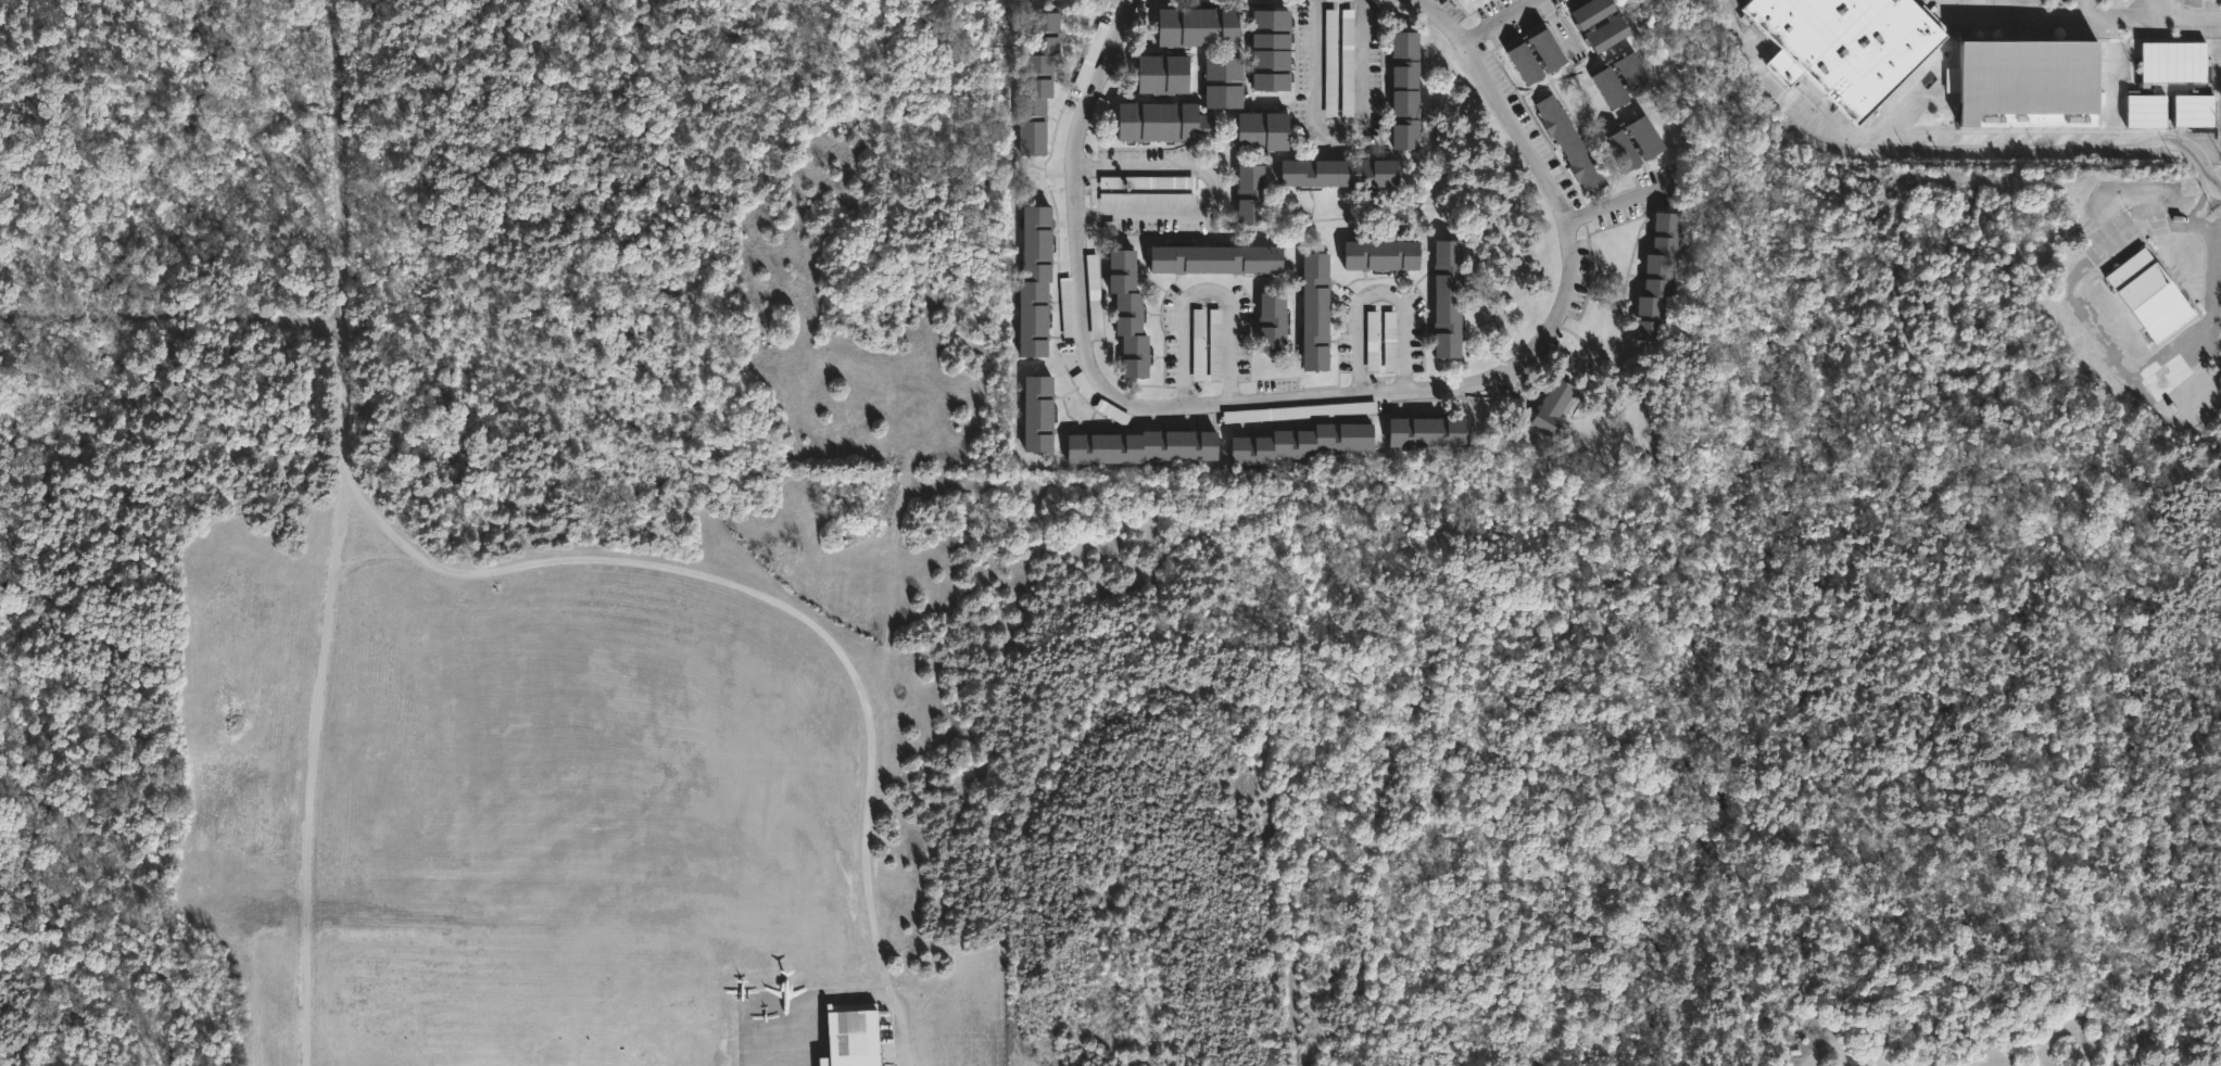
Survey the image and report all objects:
road: (1976, 8)
road: (2027, 8)
road: (2081, 8)
road: (2159, 8)
building: (1593, 11)
road: (2083, 16)
road: (1496, 20)
road: (1559, 25)
building: (1198, 26)
building: (1607, 31)
building: (1850, 45)
building: (1272, 49)
building: (1548, 49)
building: (1329, 62)
building: (1526, 62)
building: (2172, 62)
building: (1346, 63)
building: (1163, 73)
building: (1636, 73)
building: (1038, 81)
building: (1224, 81)
building: (2024, 84)
building: (1612, 86)
building: (1406, 89)
building: (2145, 111)
building: (2193, 111)
building: (1163, 120)
building: (1263, 130)
road: (1334, 136)
road: (1954, 136)
building: (1648, 137)
building: (1569, 143)
building: (1624, 150)
road: (345, 162)
building: (1338, 172)
building: (1146, 182)
road: (1209, 190)
building: (1250, 193)
building: (1146, 199)
road: (1617, 202)
road: (2203, 204)
road: (2208, 223)
building: (1383, 254)
building: (1215, 258)
building: (1660, 276)
building: (1035, 280)
road: (1199, 289)
road: (1379, 289)
building: (1094, 295)
building: (2145, 297)
building: (1449, 299)
building: (1065, 307)
building: (1316, 312)
building: (1128, 313)
road: (169, 317)
building: (1273, 321)
building: (1371, 340)
building: (1388, 341)
building: (1197, 344)
road: (2112, 363)
road: (1321, 394)
building: (1554, 408)
building: (1298, 411)
building: (1038, 414)
building: (1428, 432)
building: (1305, 442)
building: (1143, 447)
road: (731, 574)
airport: (437, 583)
road: (320, 773)
airport apron: (870, 1025)
building: (853, 1033)

